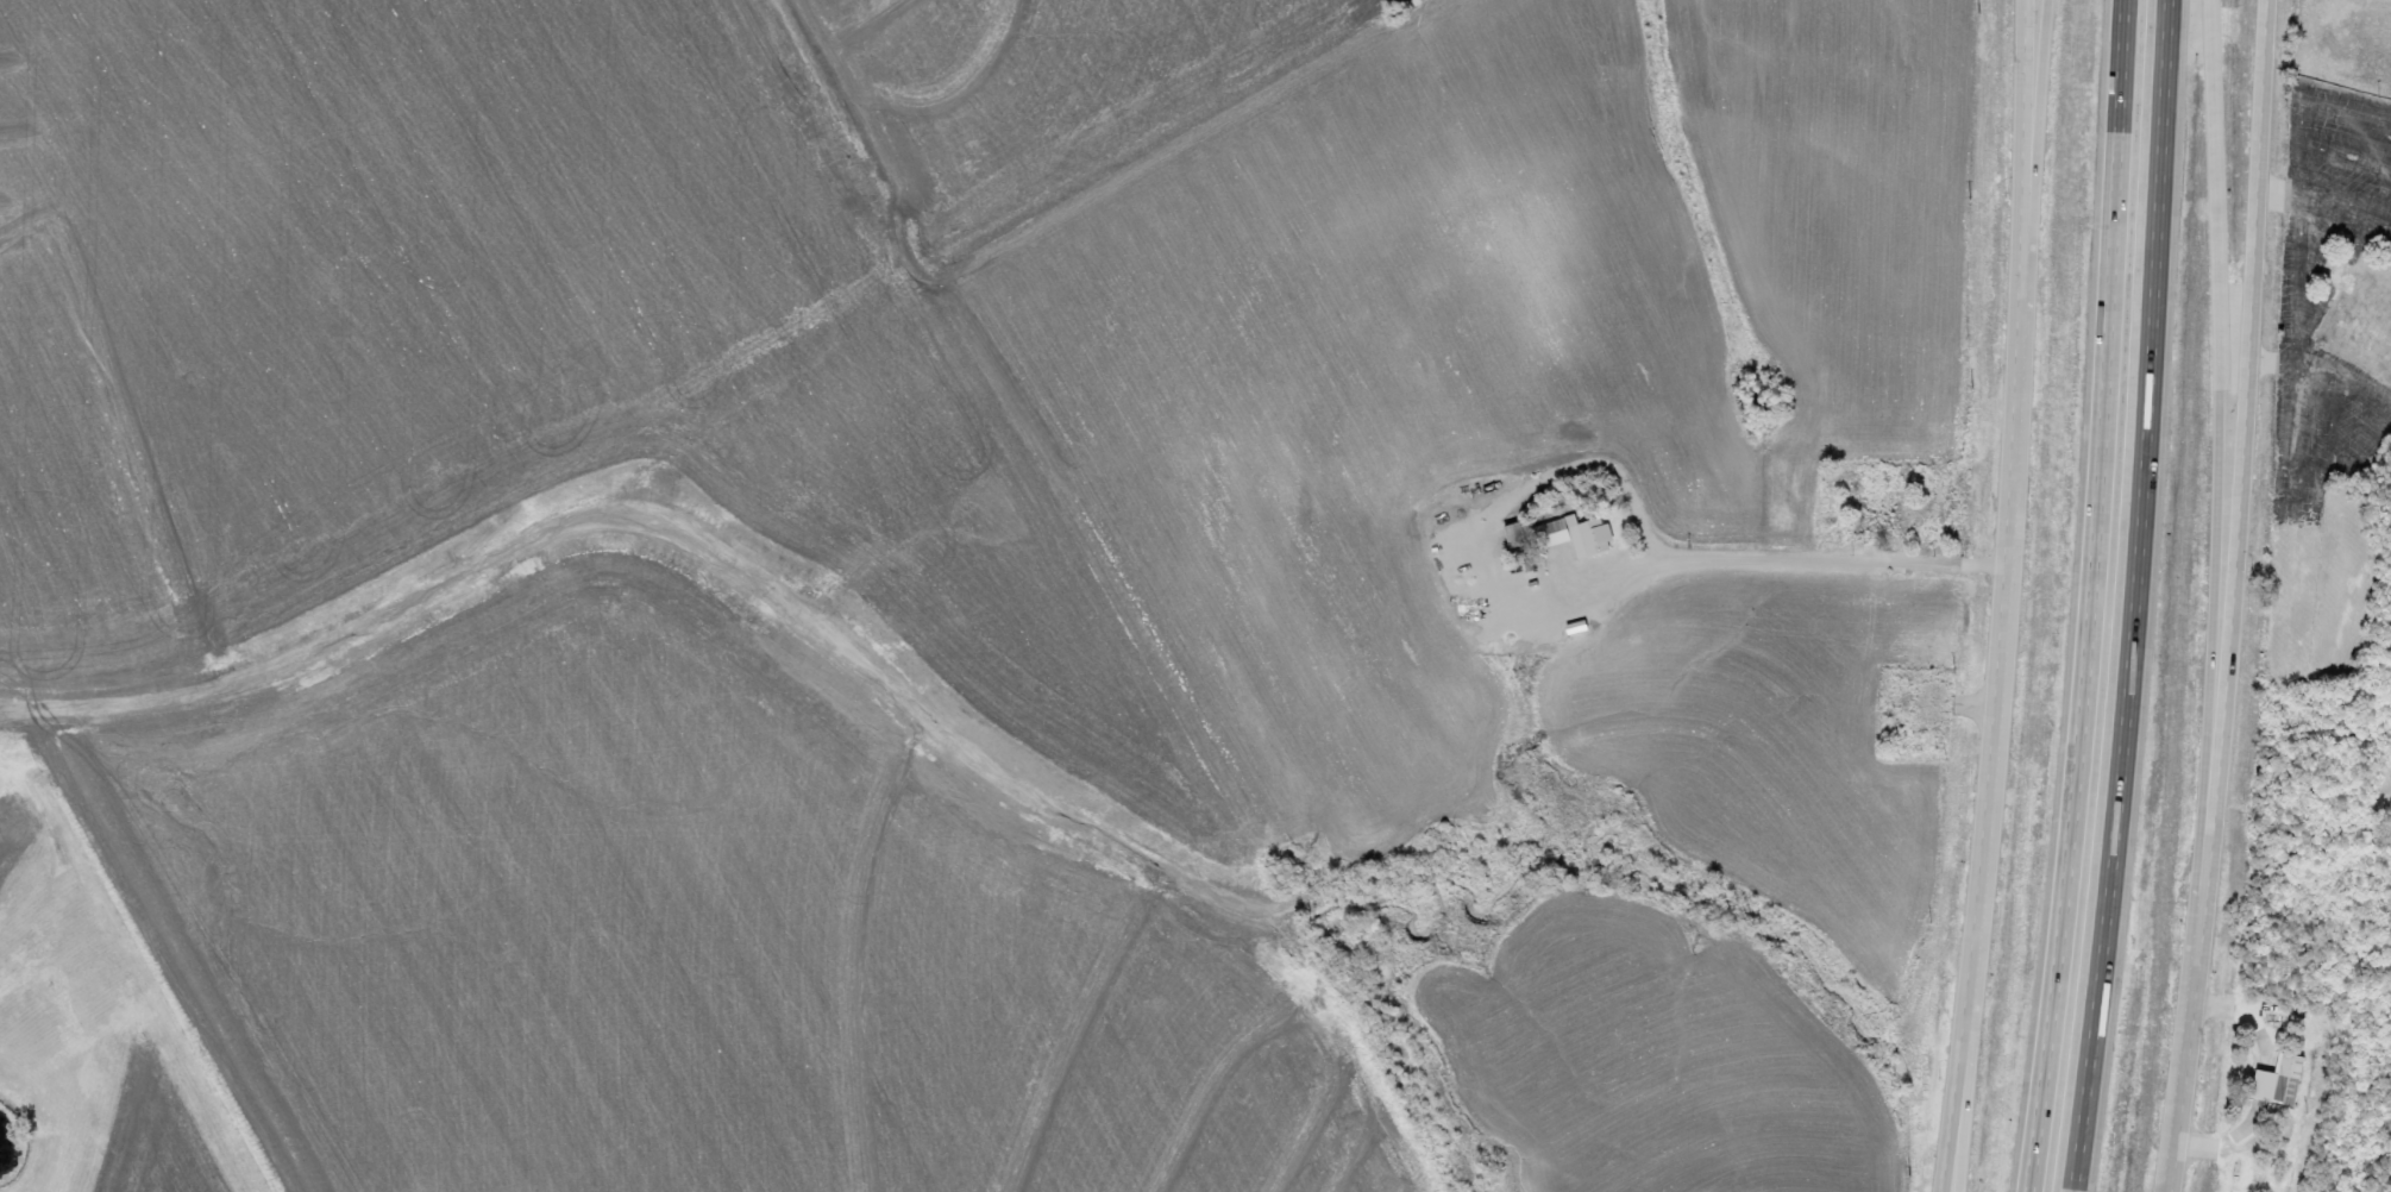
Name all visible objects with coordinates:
crop: (1037, 92)
crop: (1845, 175)
road: (2037, 205)
road: (2310, 275)
building: (2362, 309)
crop: (1362, 384)
building: (1996, 437)
road: (2323, 495)
road: (1796, 500)
building: (1890, 508)
building: (1598, 522)
road: (2219, 529)
building: (1556, 531)
road: (1835, 563)
road: (2133, 596)
road: (2015, 597)
road: (2097, 597)
road: (2238, 597)
crop: (1768, 742)
crop: (684, 934)
road: (1976, 1037)
crop: (1650, 1058)
building: (2277, 1080)
road: (2172, 1173)

